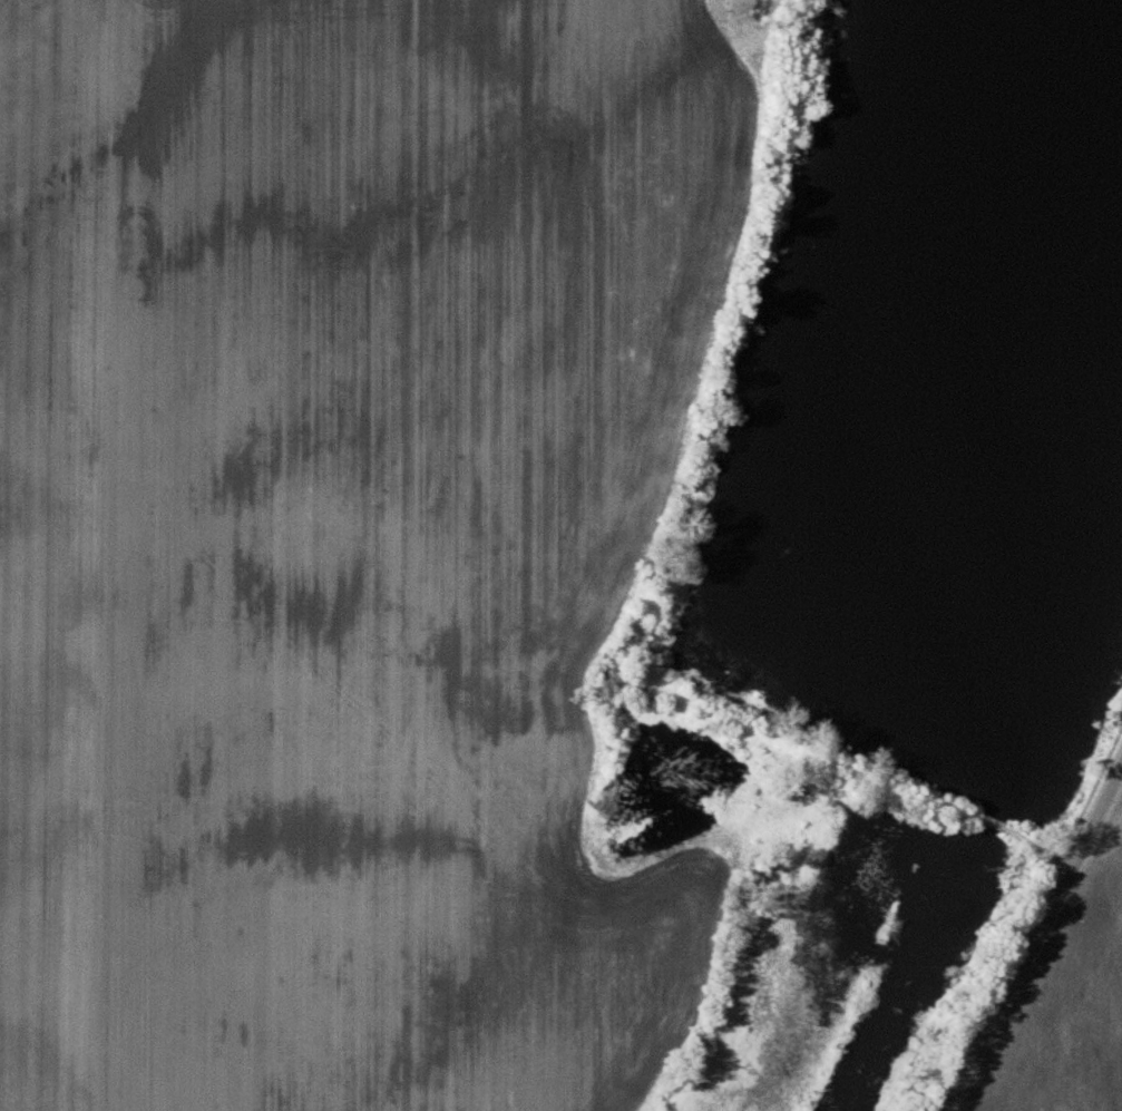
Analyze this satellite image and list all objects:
road: (1042, 942)

